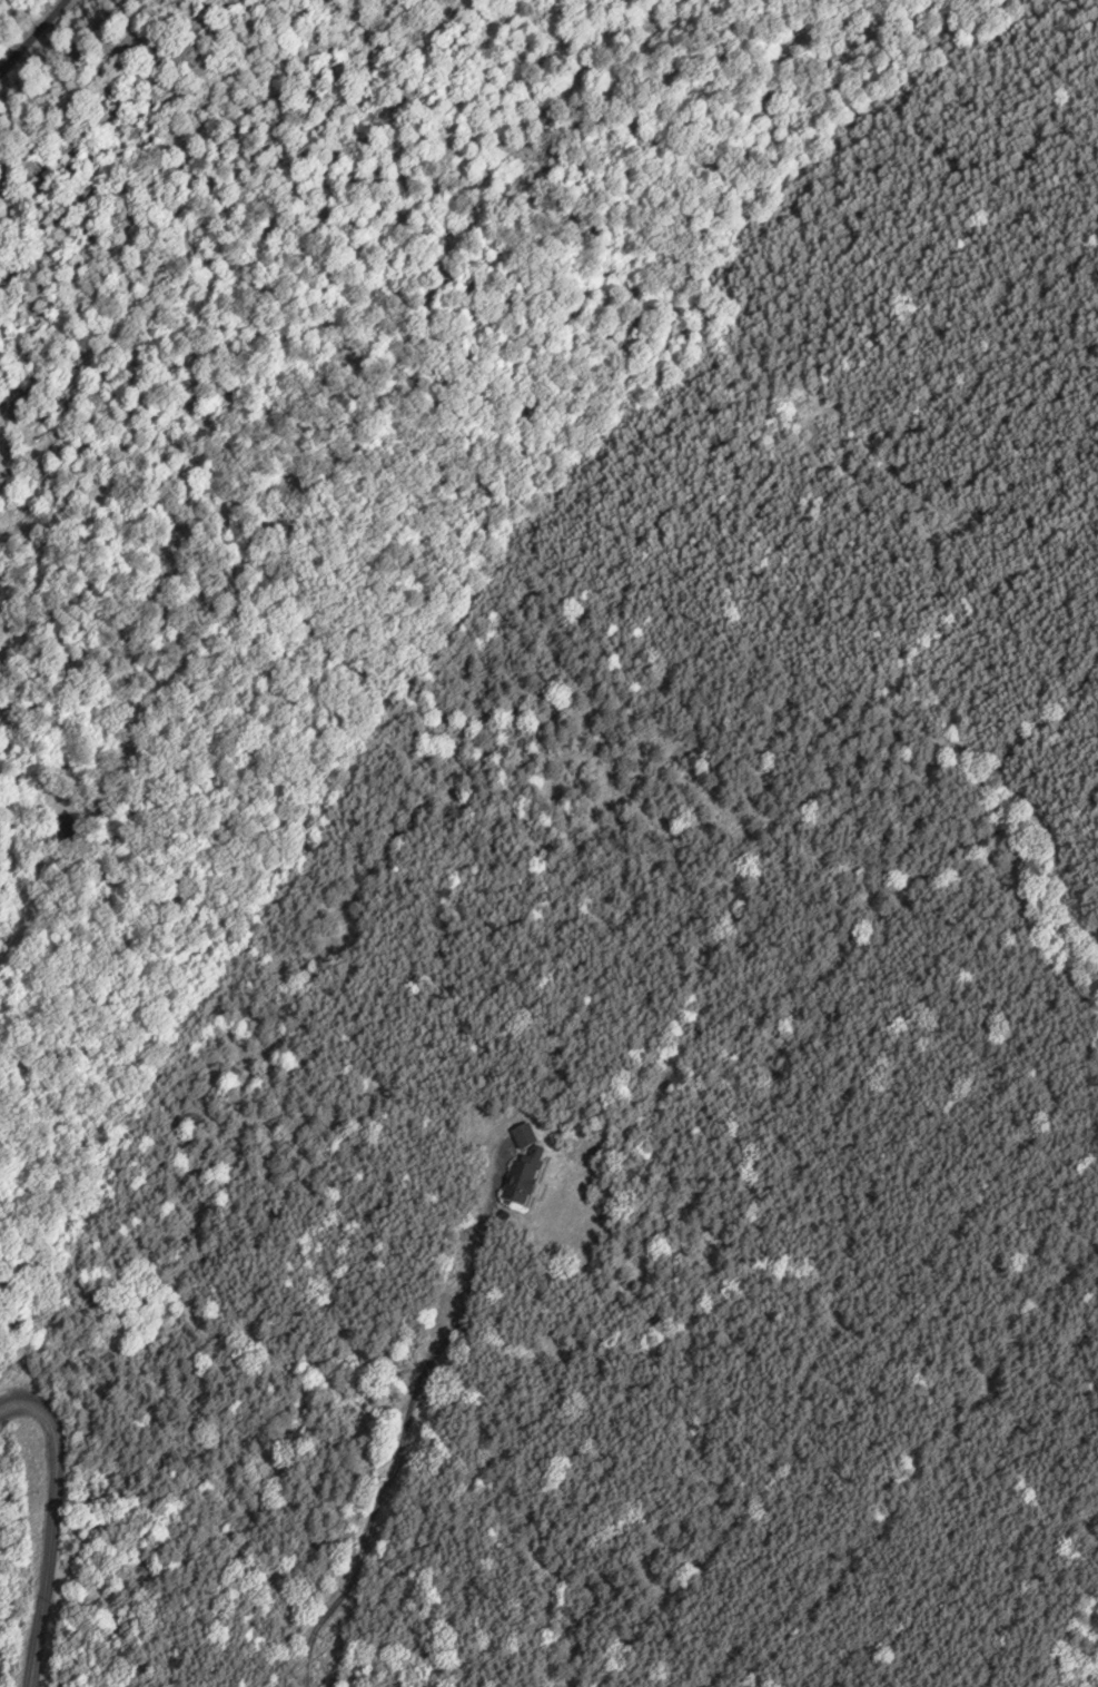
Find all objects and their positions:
road: (9, 12)
building: (527, 1138)
building: (526, 1186)
road: (394, 1456)
road: (55, 1522)

